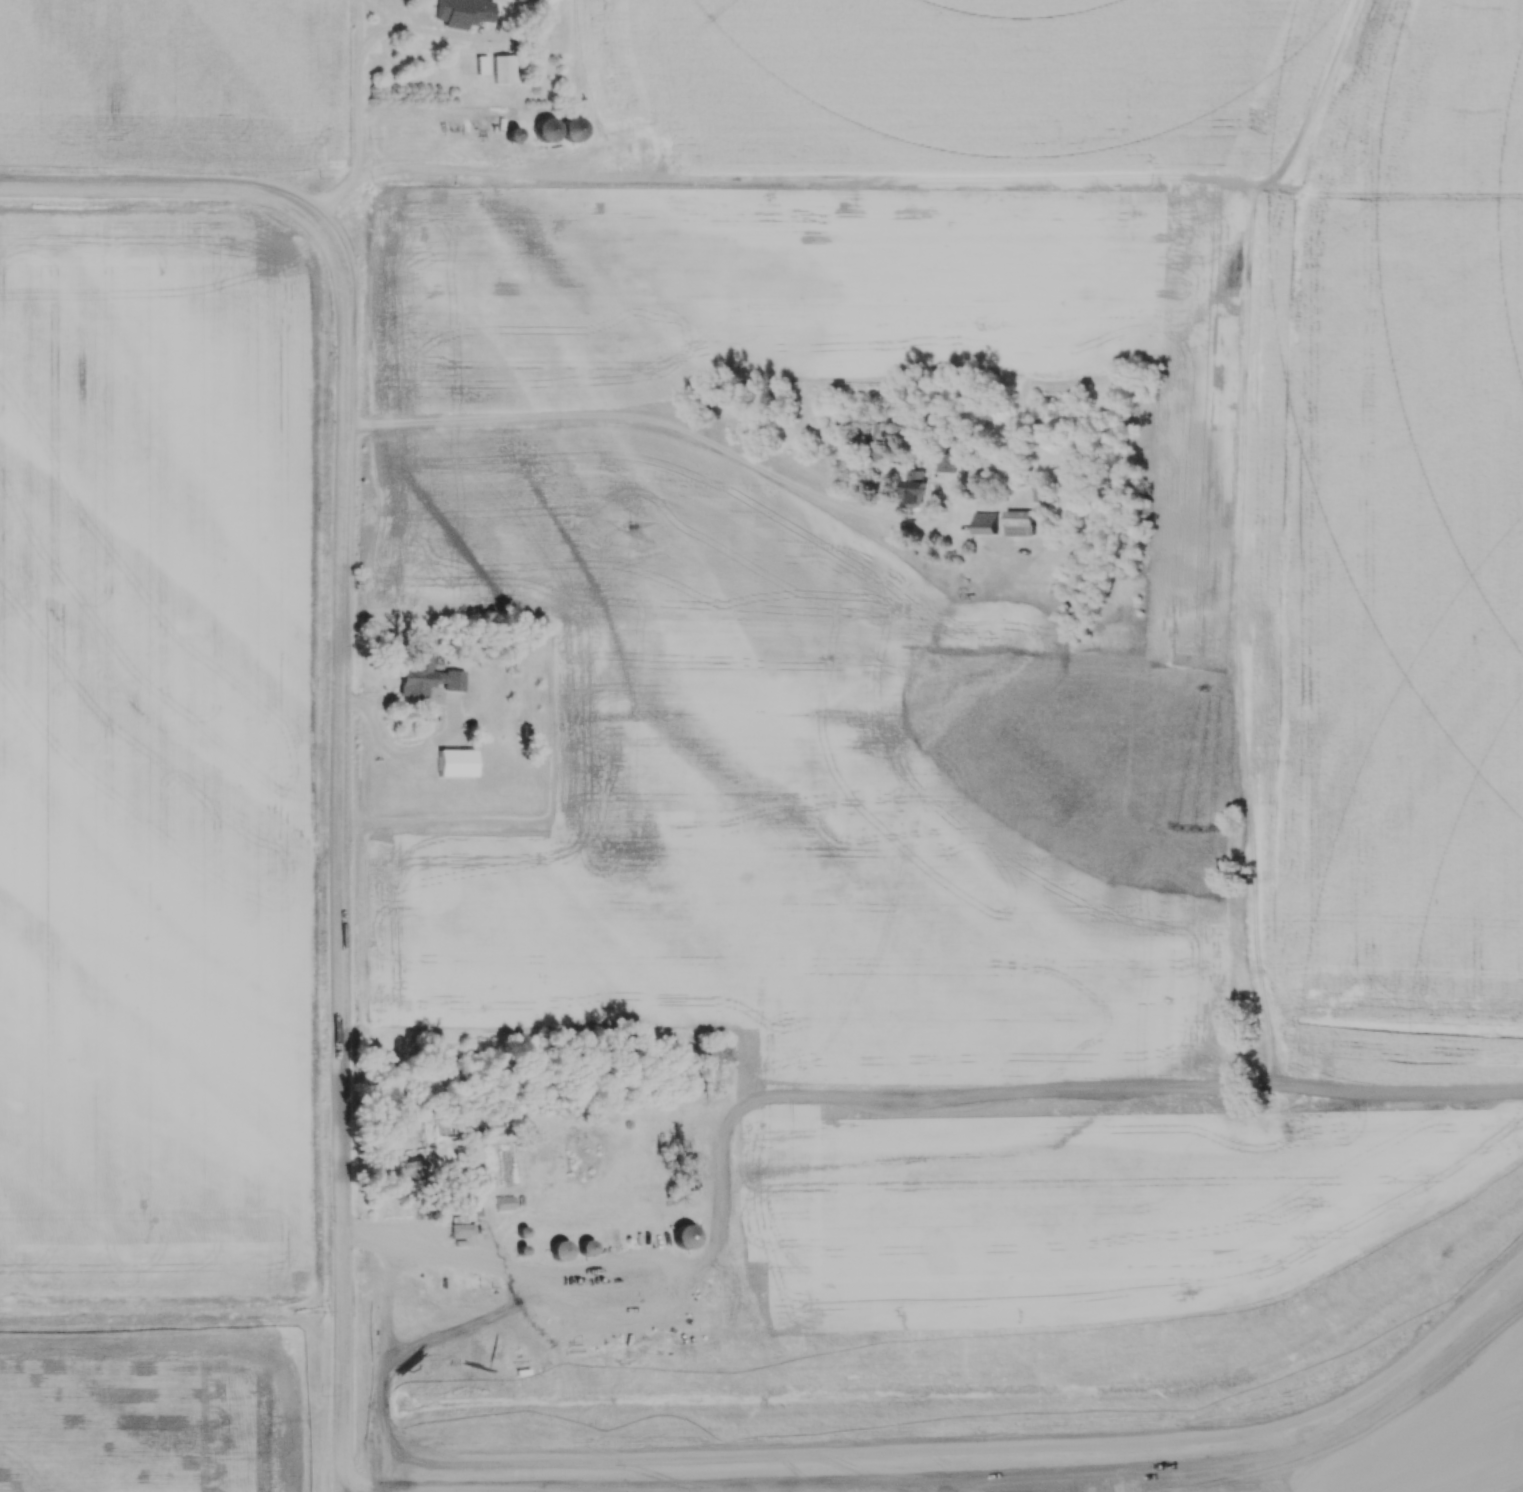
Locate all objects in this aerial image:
road: (358, 20)
road: (351, 87)
road: (652, 420)
road: (335, 691)
road: (463, 1257)

